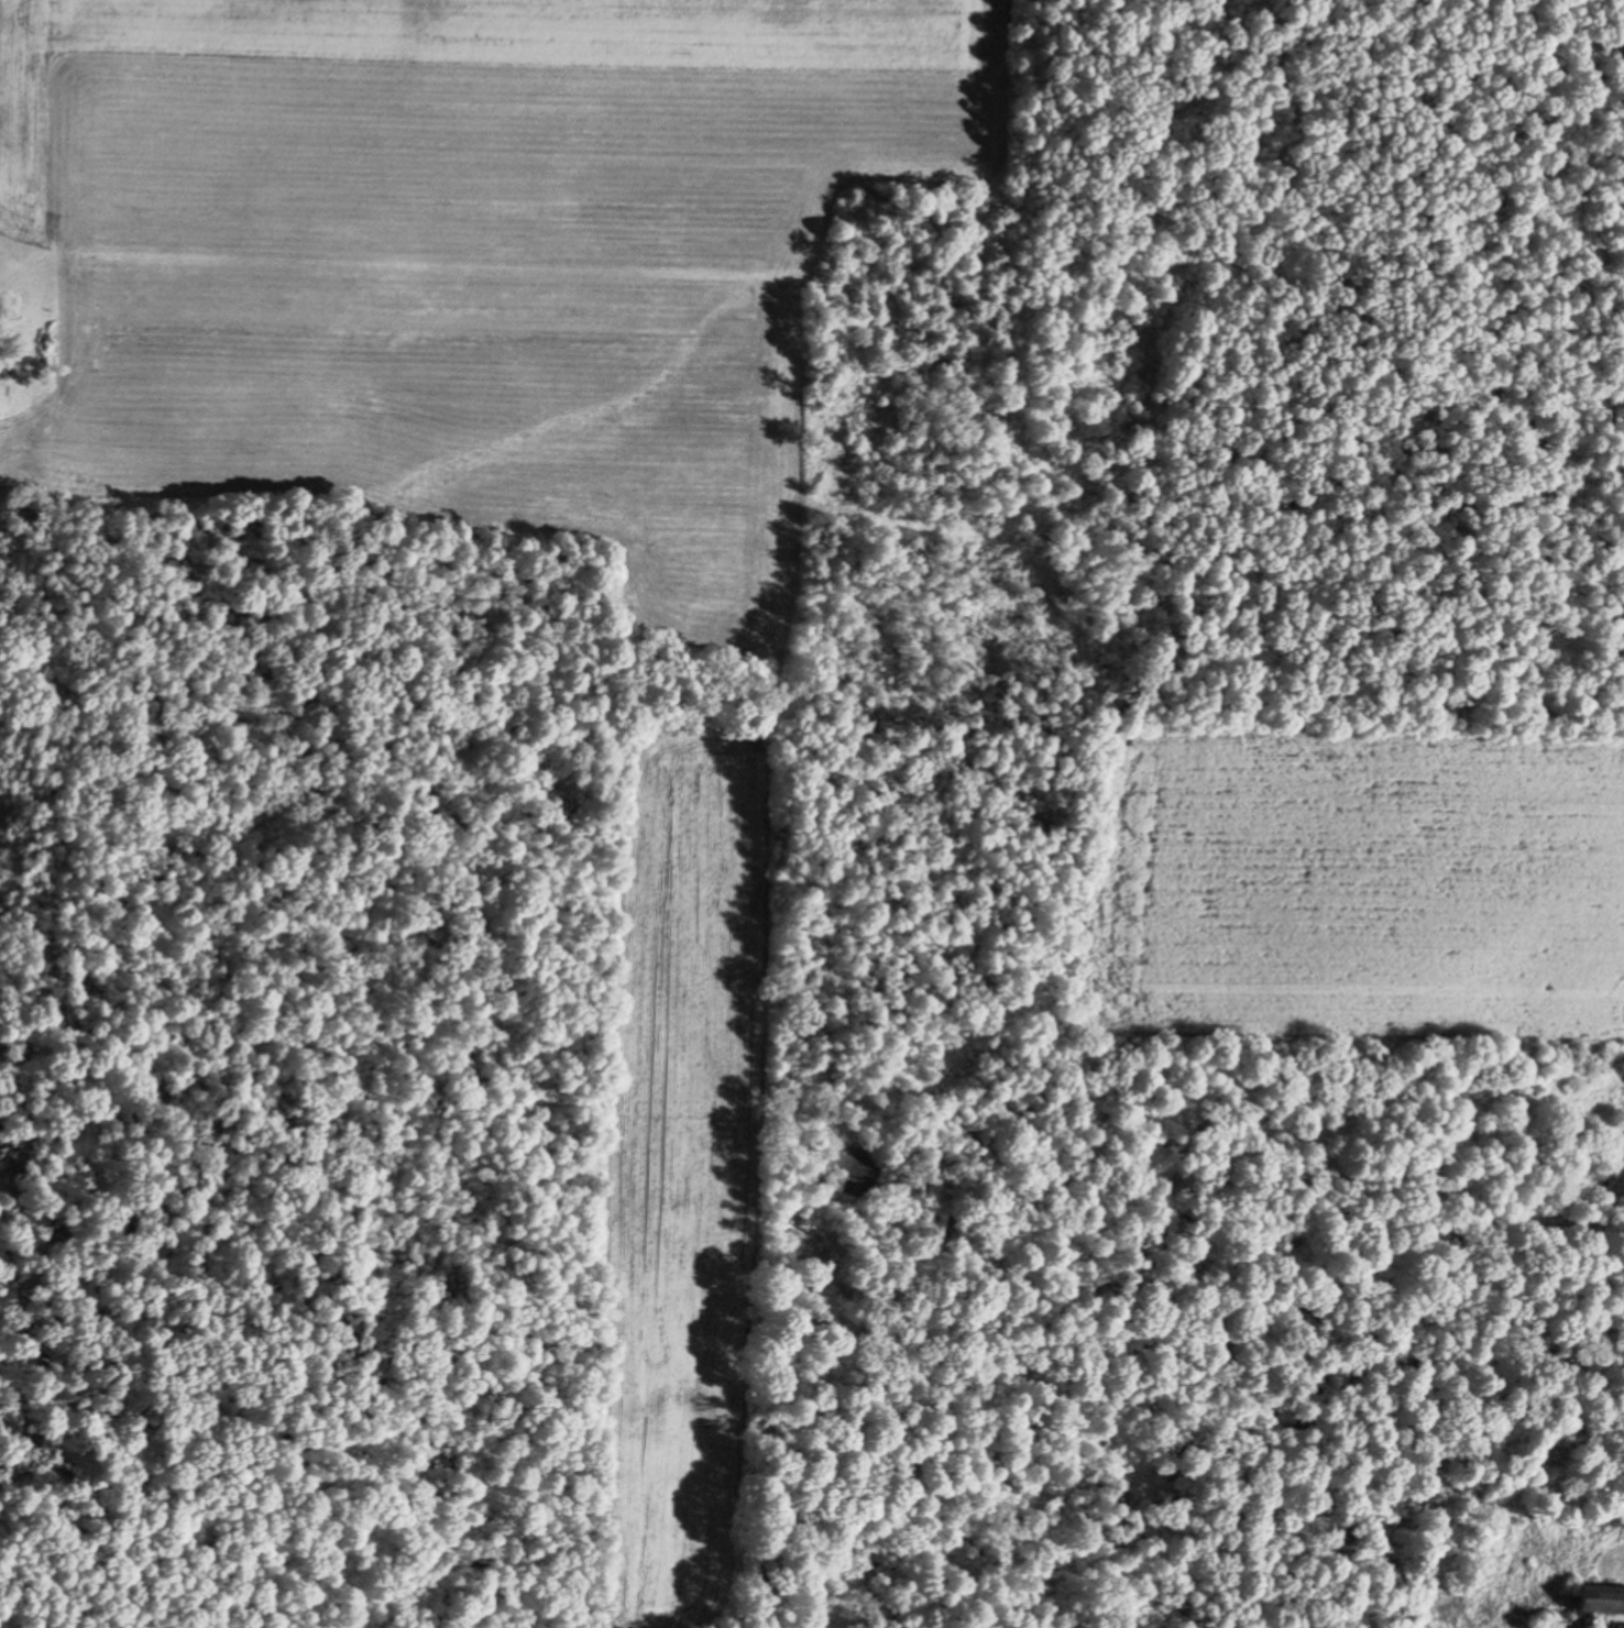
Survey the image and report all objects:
building: (1602, 1602)
building: (1621, 1626)

